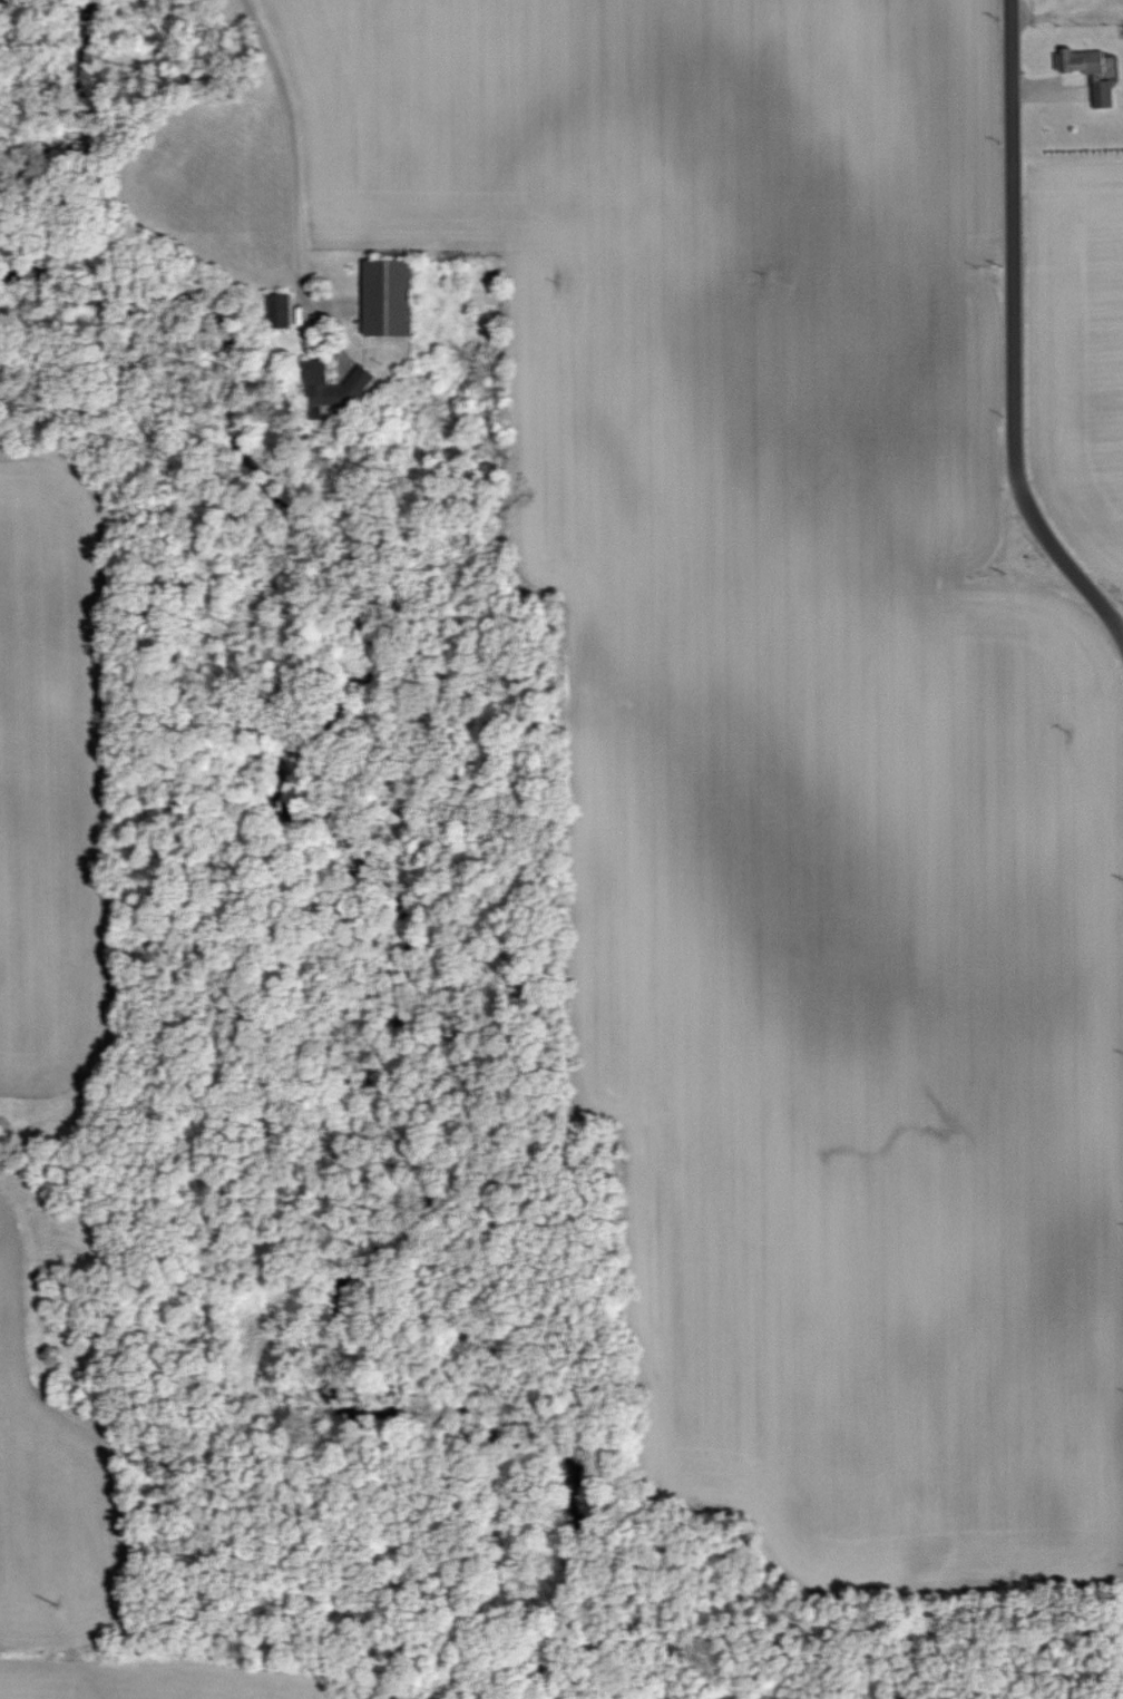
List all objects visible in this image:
building: (1078, 61)
building: (1097, 94)
road: (311, 184)
building: (380, 297)
building: (274, 311)
road: (1009, 336)
building: (333, 387)

